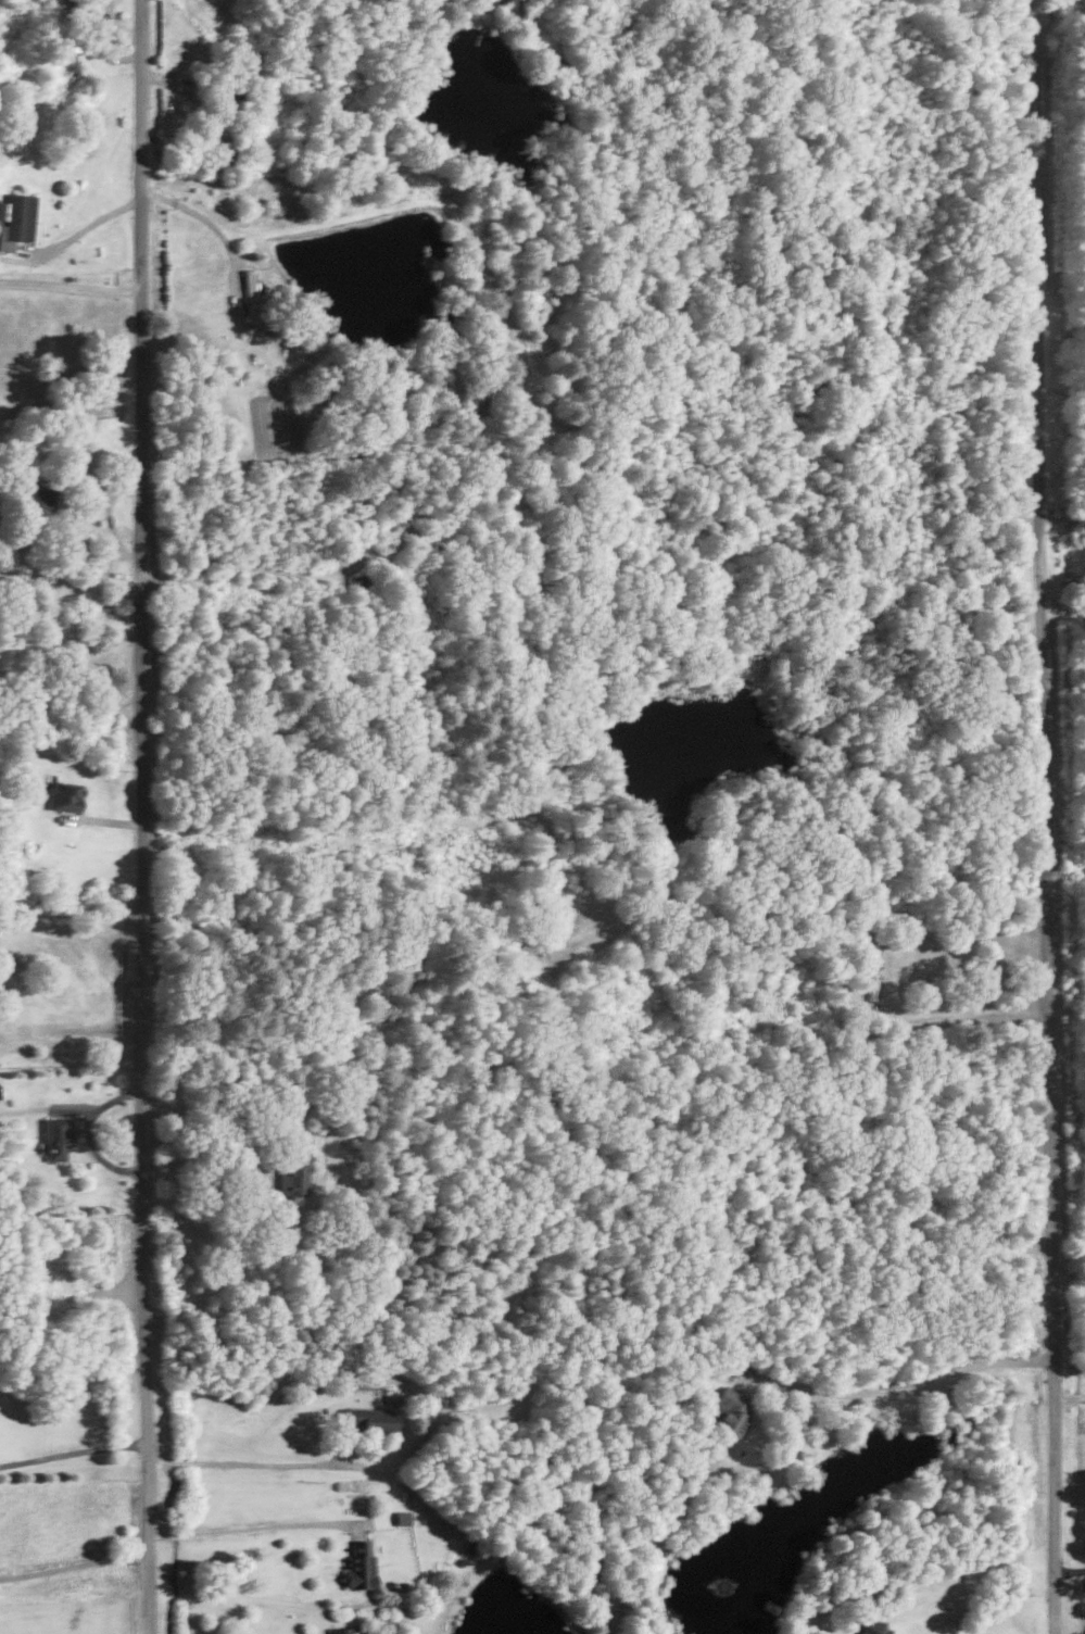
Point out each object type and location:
building: (17, 219)
road: (214, 227)
road: (84, 229)
road: (70, 279)
road: (1063, 609)
building: (64, 795)
road: (1040, 816)
road: (140, 817)
road: (966, 1006)
road: (195, 1113)
building: (55, 1140)
building: (293, 1174)
road: (905, 1390)
road: (1065, 1398)
building: (729, 1411)
building: (368, 1419)
road: (73, 1450)
road: (241, 1463)
building: (401, 1517)
road: (251, 1525)
road: (74, 1564)
building: (358, 1566)
road: (1067, 1571)
building: (874, 1629)
building: (342, 1631)

